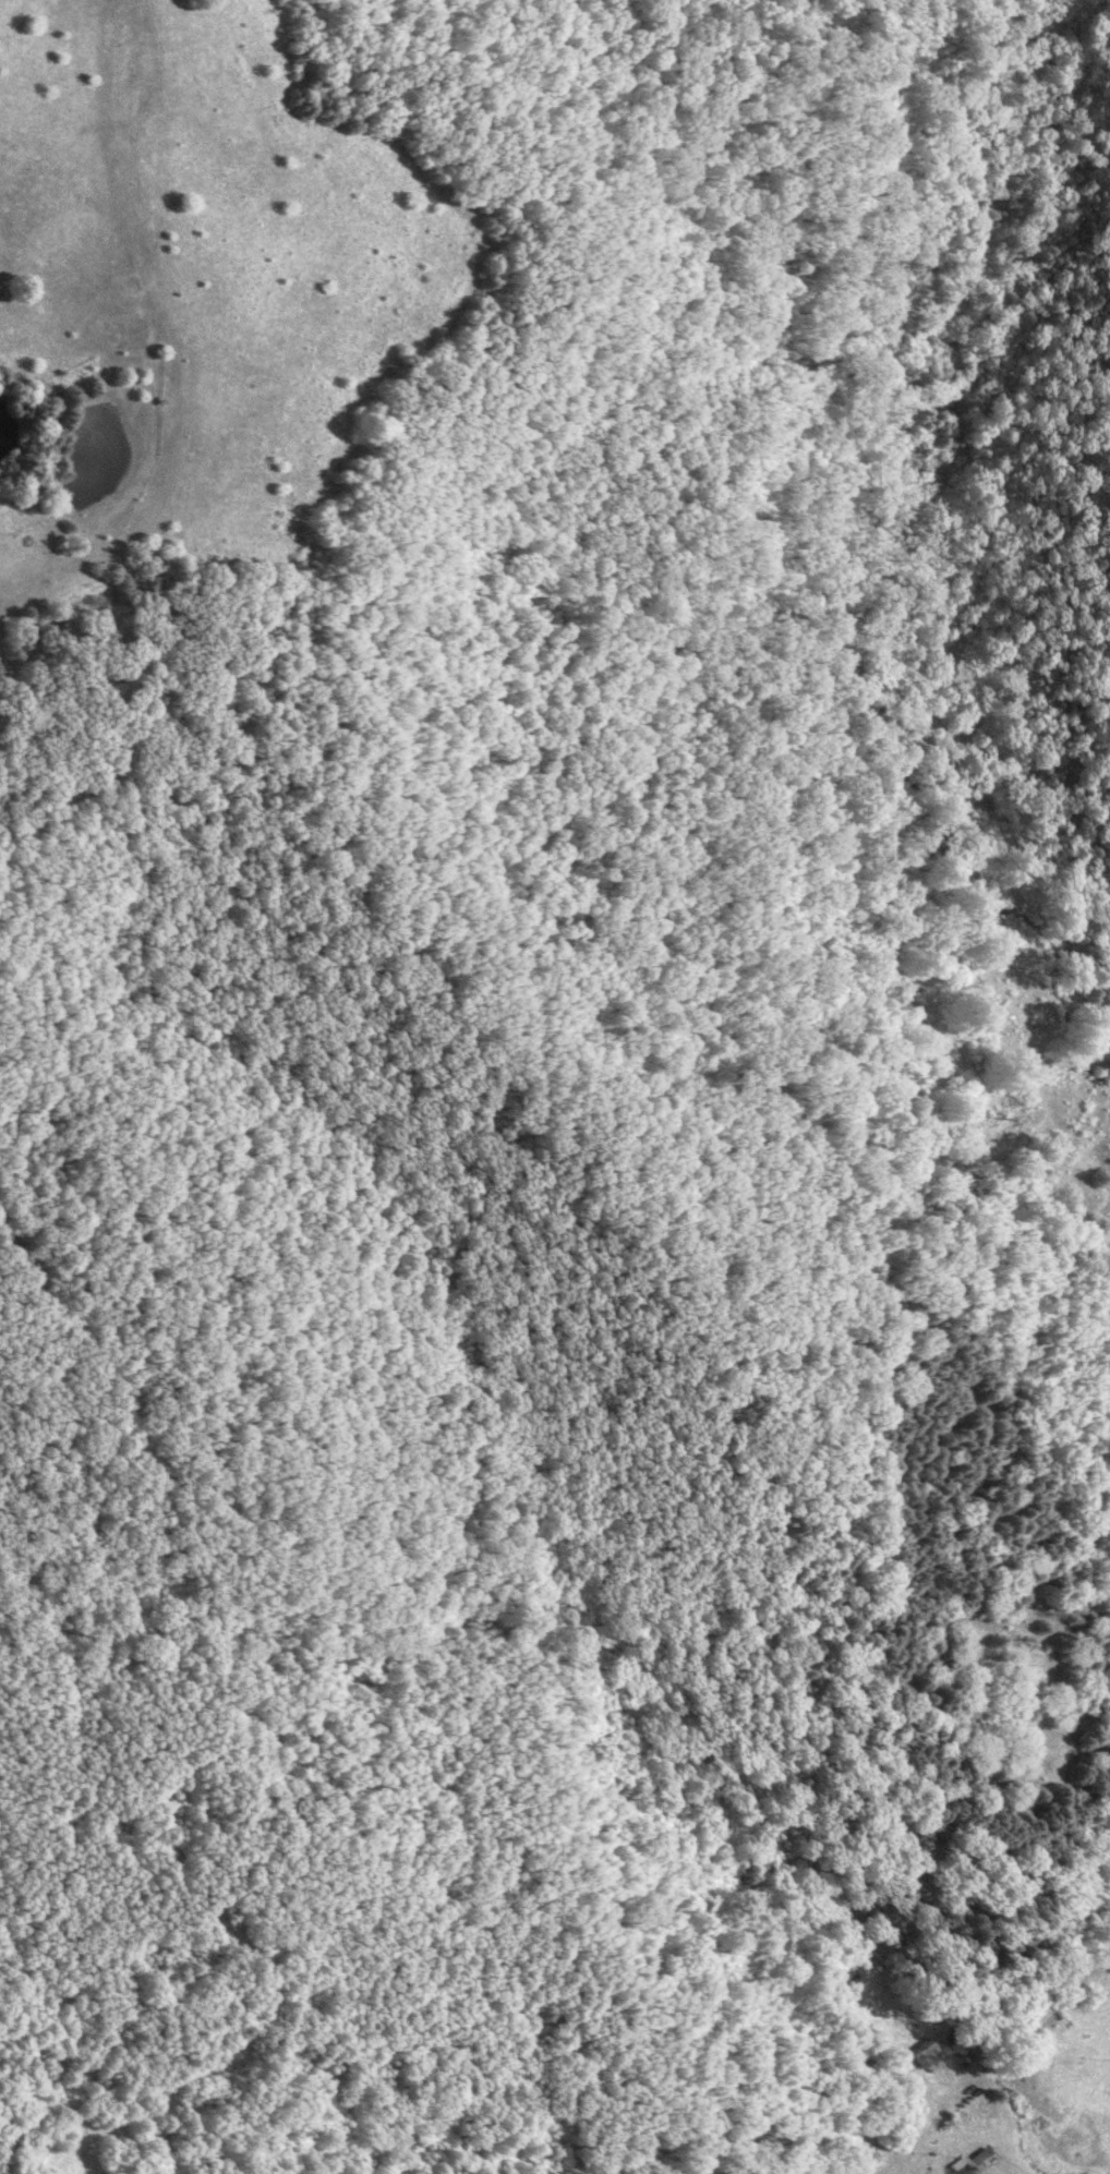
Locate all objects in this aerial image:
road: (946, 2036)

